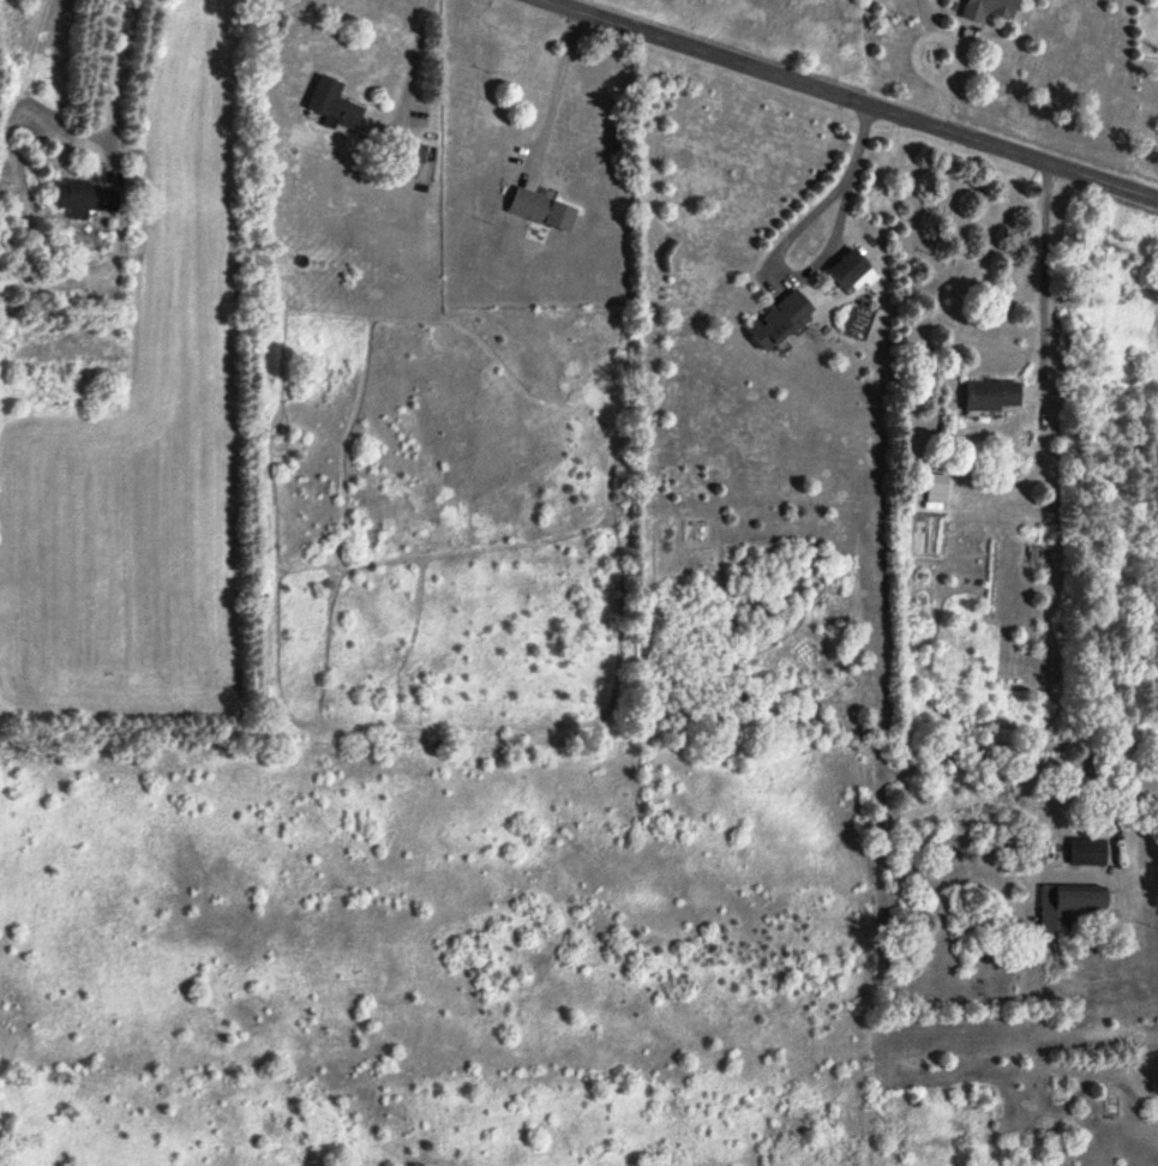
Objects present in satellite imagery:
building: (992, 10)
road: (416, 49)
road: (116, 79)
road: (554, 97)
road: (846, 101)
building: (335, 106)
building: (86, 198)
building: (544, 211)
road: (786, 238)
building: (852, 272)
building: (1157, 272)
road: (1043, 280)
building: (8, 282)
building: (782, 321)
building: (994, 396)
building: (936, 492)
building: (1090, 855)

